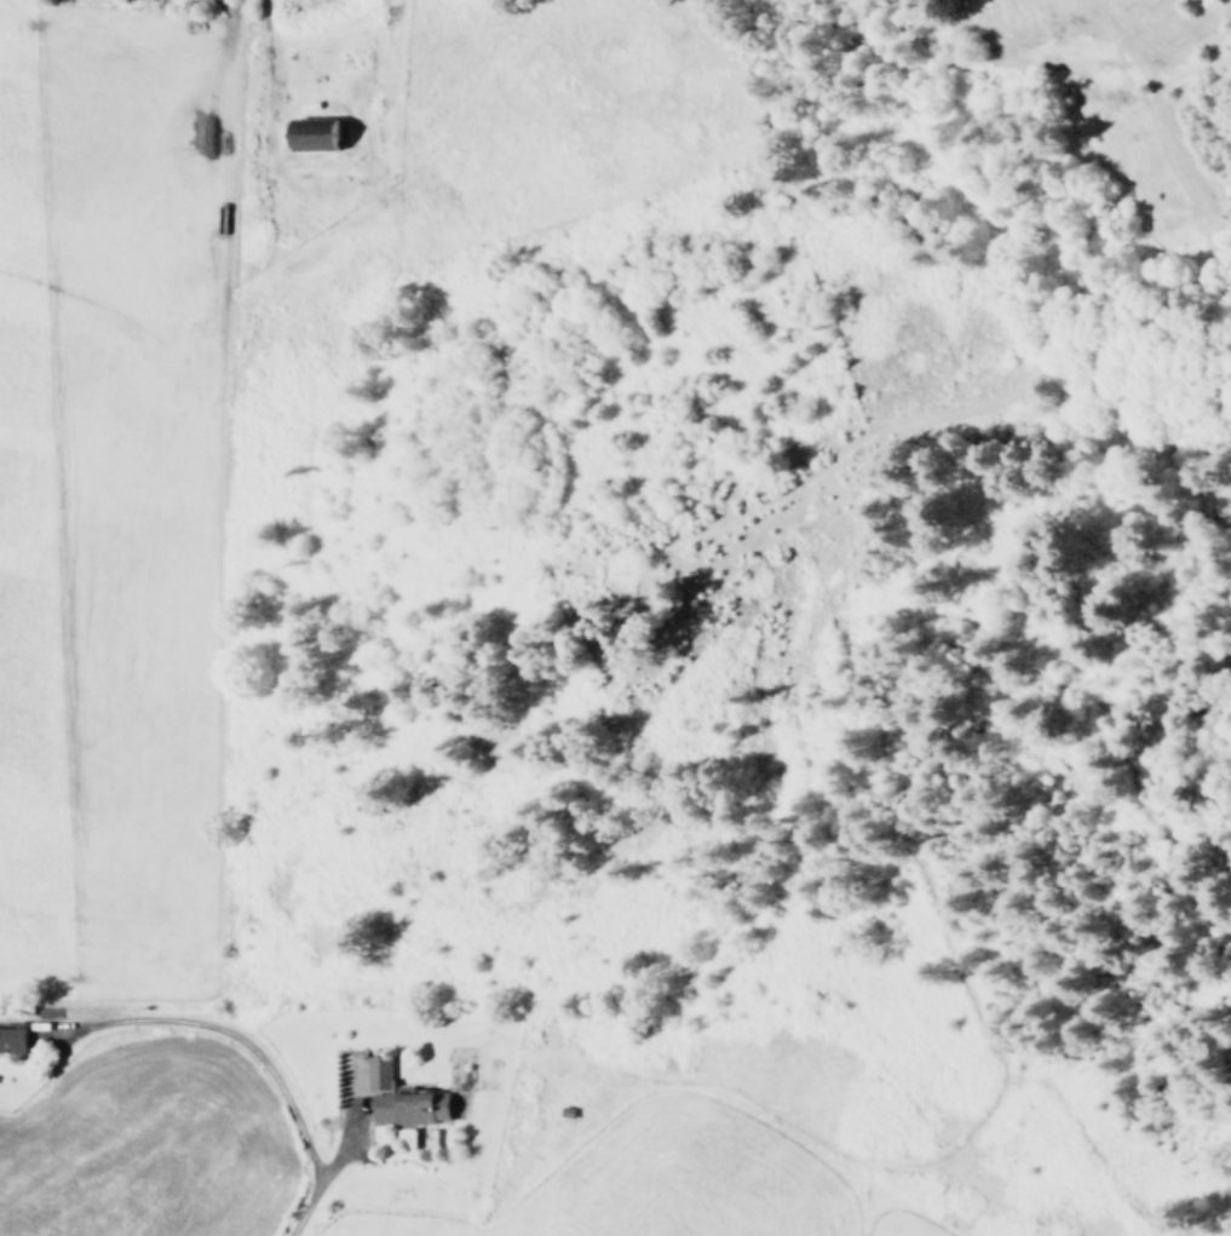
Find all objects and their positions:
road: (268, 57)
building: (316, 140)
crop: (119, 488)
building: (12, 1039)
road: (243, 1044)
building: (379, 1071)
building: (410, 1106)
road: (351, 1122)

